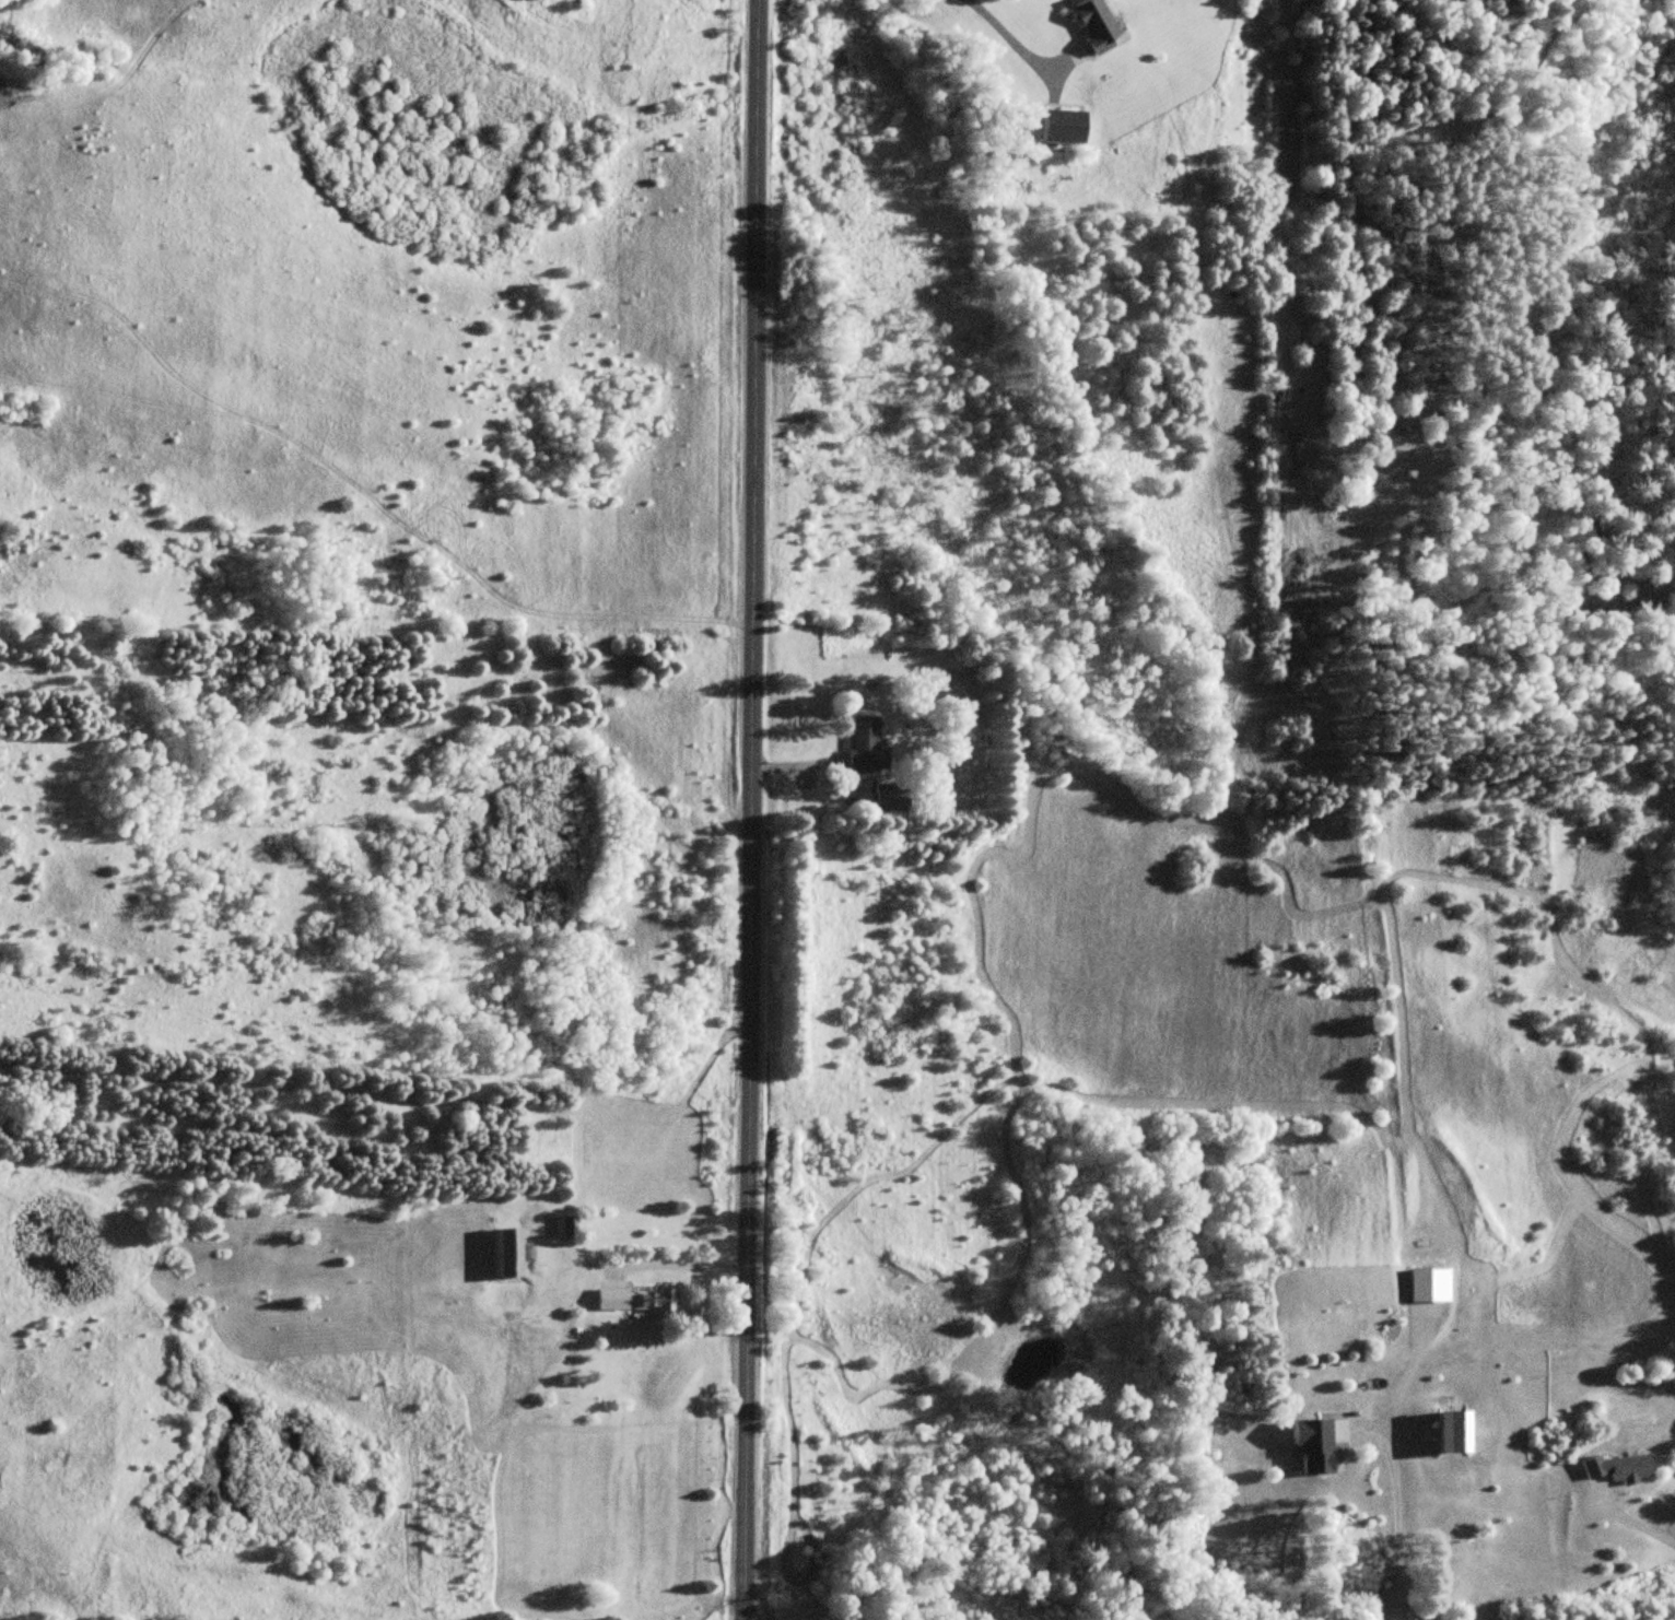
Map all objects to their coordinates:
building: (1093, 24)
building: (1065, 126)
building: (865, 744)
building: (891, 798)
road: (750, 810)
building: (509, 1252)
building: (639, 1298)
building: (1457, 1430)
building: (1315, 1445)

